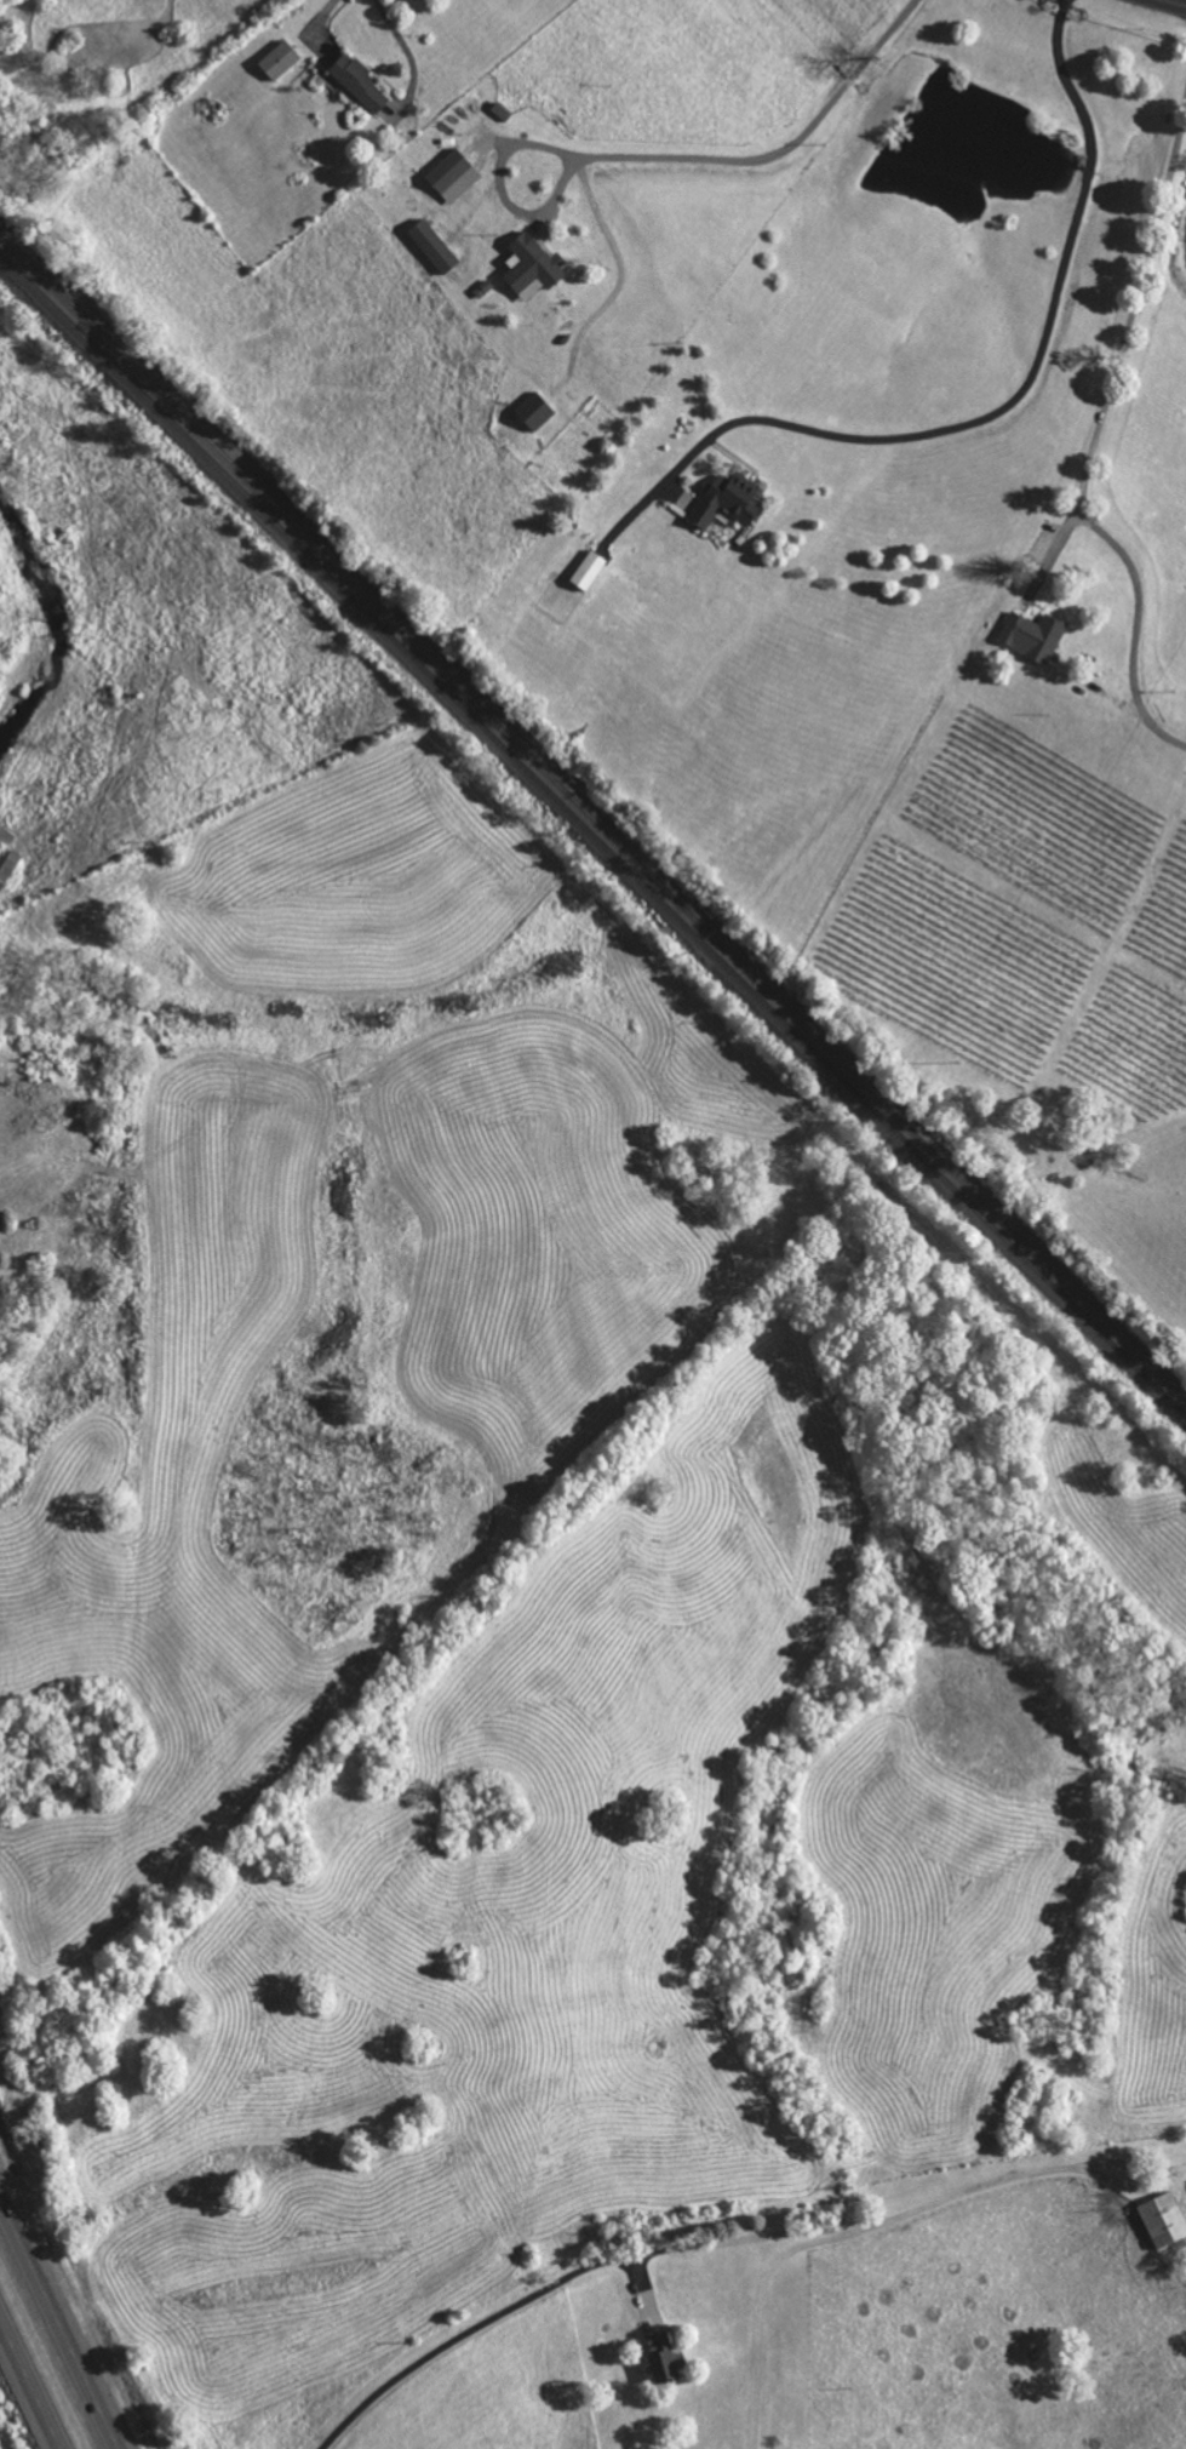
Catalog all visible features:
road: (1176, 1)
road: (321, 15)
building: (280, 59)
building: (361, 82)
road: (779, 150)
building: (454, 174)
road: (503, 189)
building: (435, 245)
building: (533, 263)
building: (532, 288)
road: (1024, 388)
building: (537, 411)
road: (1094, 435)
building: (730, 499)
railway: (399, 619)
building: (1033, 635)
railway: (592, 828)
building: (8, 866)
railway: (956, 1171)
building: (1164, 2219)
road: (743, 2237)
road: (761, 2311)
road: (61, 2321)
road: (465, 2333)
building: (665, 2356)
road: (30, 2382)

